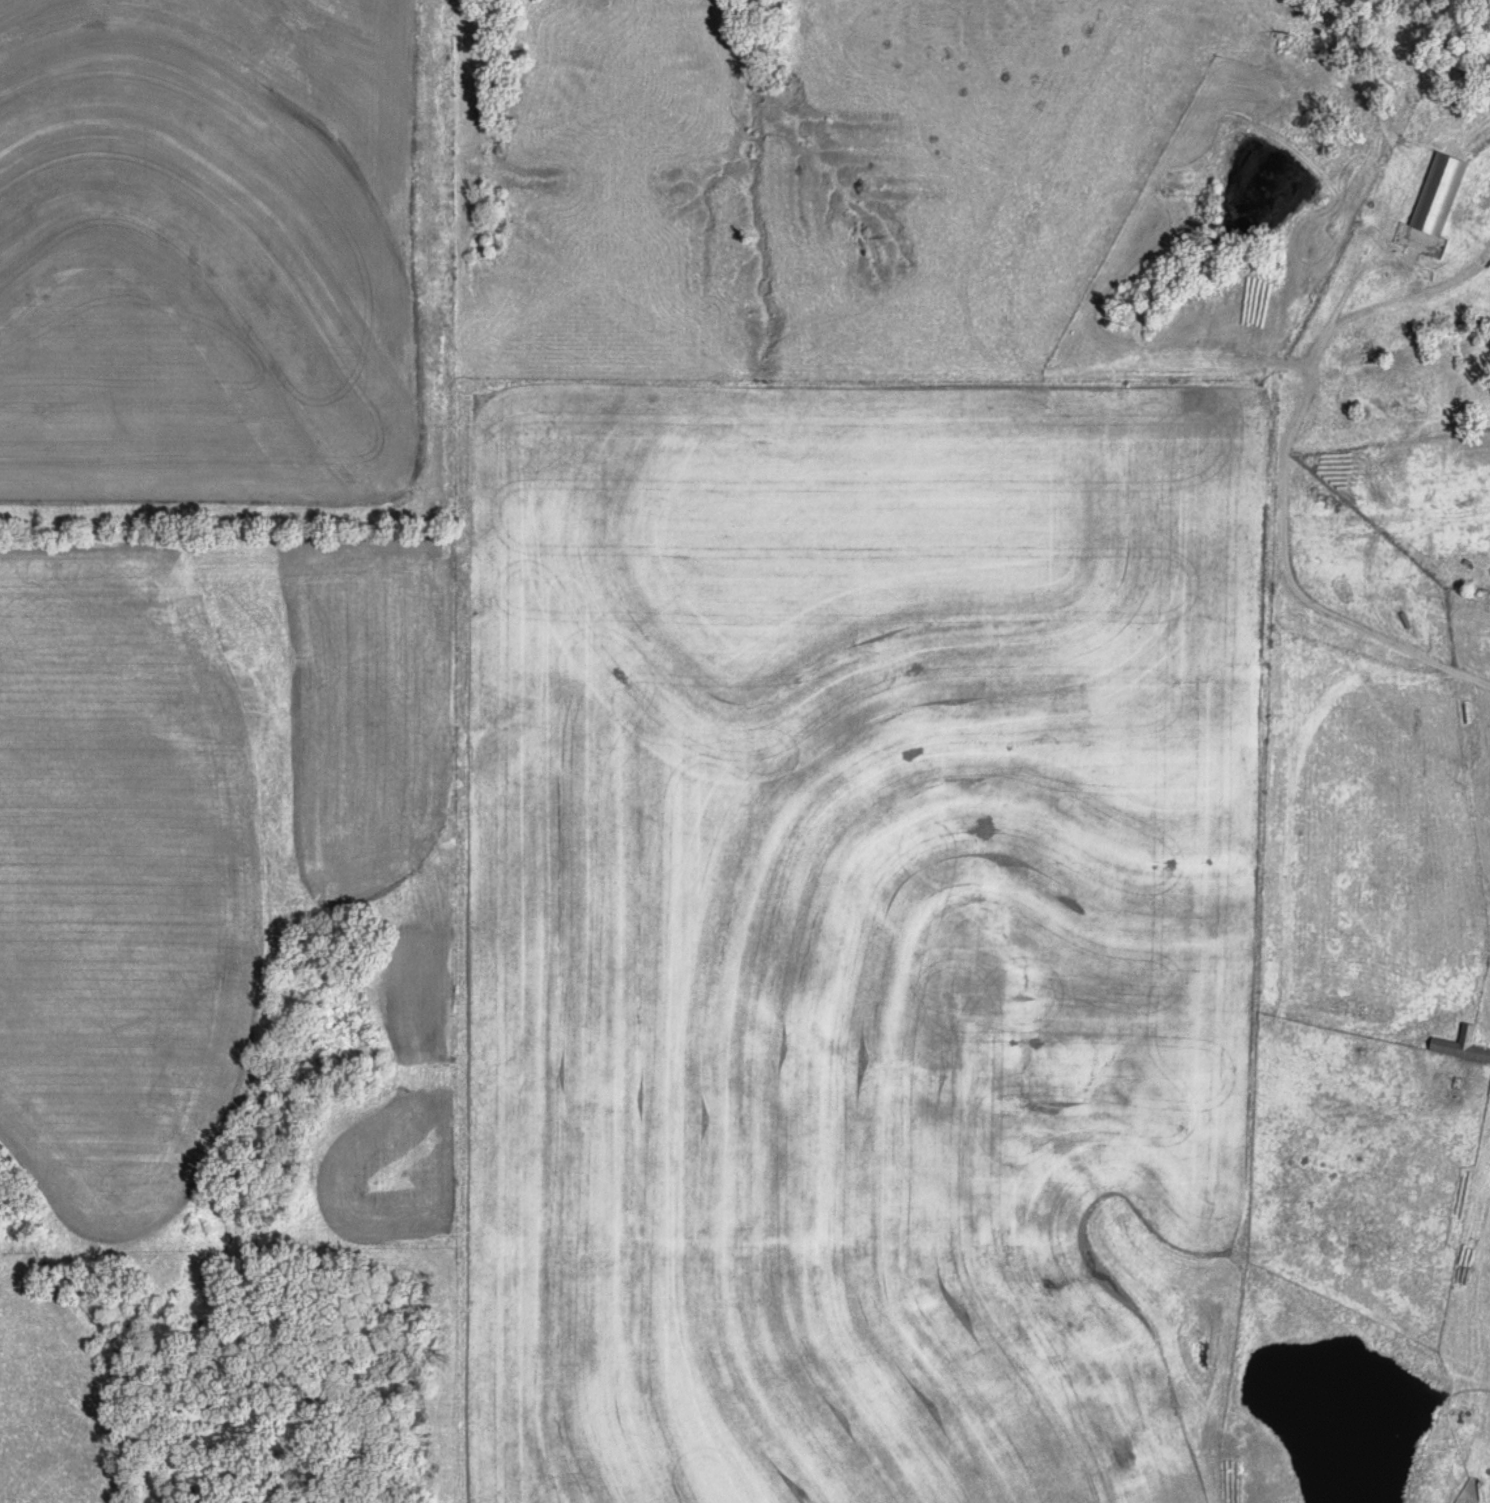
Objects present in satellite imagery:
building: (1436, 194)
building: (1460, 1045)

